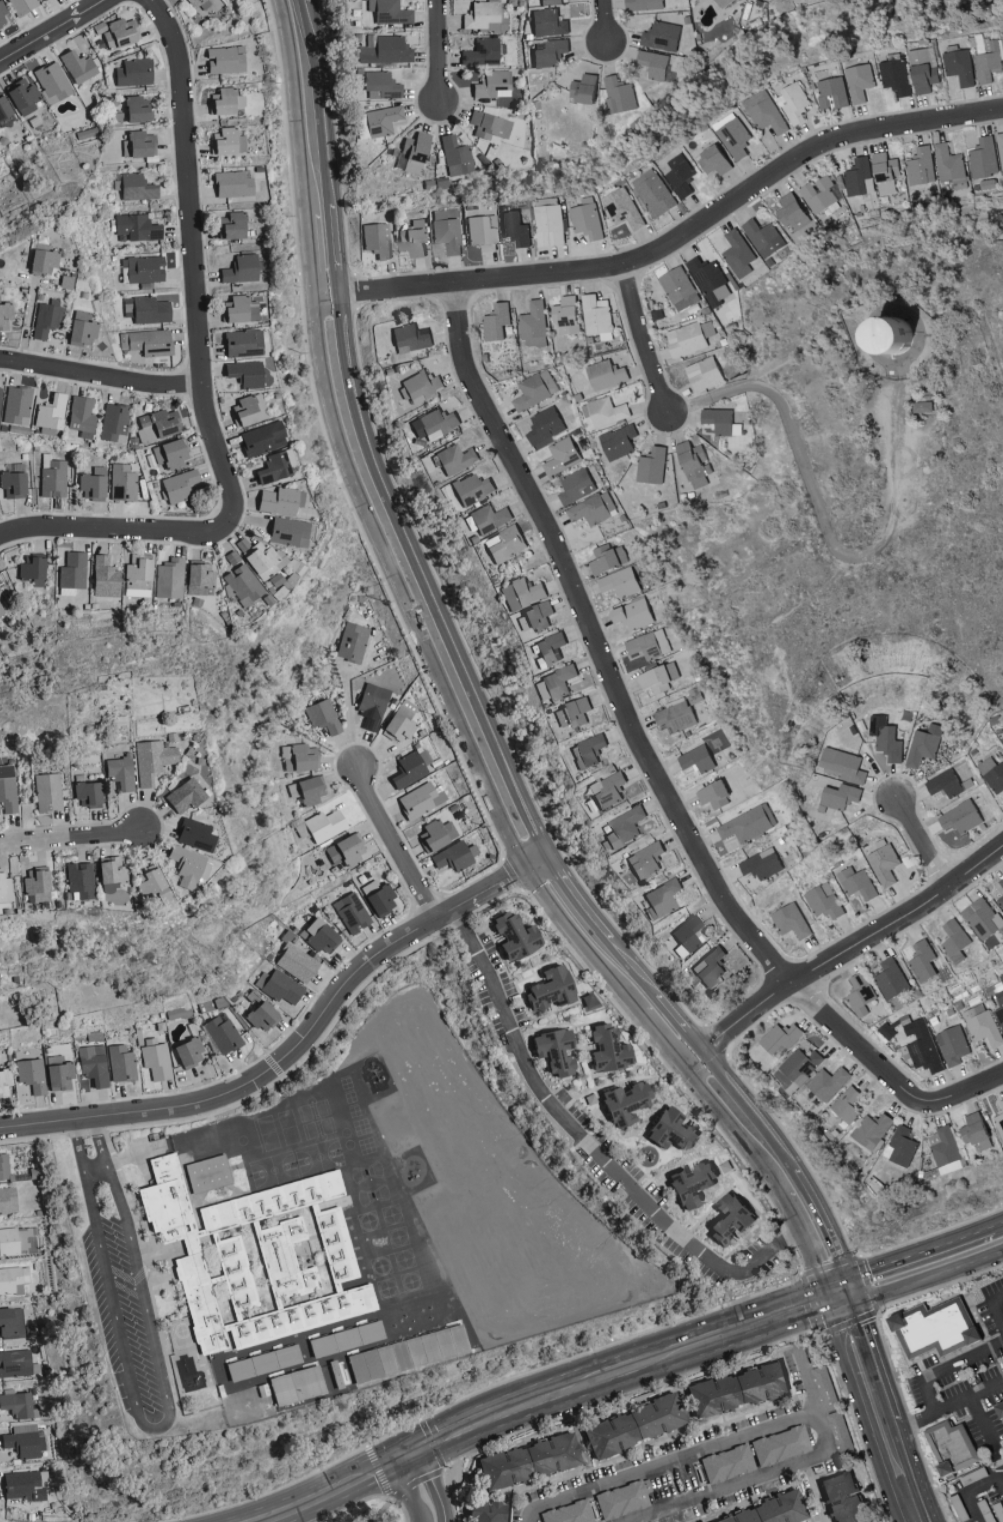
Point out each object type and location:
building: (44, 0)
building: (812, 1)
building: (551, 2)
building: (727, 3)
building: (652, 5)
building: (22, 6)
building: (390, 12)
building: (4, 14)
building: (483, 15)
building: (550, 23)
road: (607, 24)
road: (49, 30)
building: (120, 32)
building: (664, 36)
building: (386, 50)
building: (483, 53)
building: (552, 53)
road: (438, 54)
building: (921, 57)
building: (226, 60)
building: (987, 63)
building: (80, 66)
building: (959, 66)
building: (659, 71)
building: (136, 72)
building: (898, 77)
building: (927, 78)
building: (53, 82)
building: (861, 83)
building: (494, 84)
building: (383, 86)
building: (587, 89)
building: (833, 94)
building: (25, 95)
building: (620, 96)
building: (227, 102)
building: (795, 105)
road: (296, 107)
building: (140, 109)
building: (6, 111)
building: (766, 113)
building: (384, 120)
building: (491, 125)
building: (737, 139)
building: (227, 141)
building: (140, 145)
building: (1000, 148)
road: (323, 149)
building: (417, 152)
building: (457, 156)
building: (983, 157)
building: (718, 162)
building: (920, 166)
building: (950, 166)
building: (883, 173)
building: (682, 177)
building: (858, 177)
building: (234, 184)
building: (137, 187)
building: (817, 193)
building: (656, 194)
building: (624, 209)
building: (788, 210)
building: (587, 221)
building: (234, 226)
building: (551, 226)
building: (138, 228)
building: (516, 229)
building: (446, 232)
building: (482, 234)
building: (762, 237)
building: (414, 238)
building: (377, 240)
road: (681, 245)
building: (737, 253)
road: (311, 258)
building: (45, 259)
building: (146, 269)
building: (242, 269)
building: (708, 278)
building: (678, 288)
road: (325, 299)
building: (237, 309)
building: (148, 310)
building: (564, 314)
building: (595, 314)
building: (6, 316)
building: (47, 319)
building: (496, 321)
building: (533, 324)
building: (84, 328)
building: (872, 333)
building: (411, 338)
building: (688, 338)
building: (147, 342)
building: (244, 343)
road: (644, 343)
building: (702, 373)
building: (247, 374)
building: (604, 374)
road: (104, 376)
road: (206, 377)
building: (420, 385)
building: (536, 389)
building: (0, 396)
building: (18, 405)
building: (920, 406)
building: (248, 411)
building: (604, 412)
building: (52, 413)
building: (83, 417)
building: (436, 420)
building: (720, 421)
building: (114, 423)
building: (158, 426)
building: (545, 427)
building: (264, 438)
building: (617, 442)
building: (172, 453)
building: (561, 456)
building: (454, 458)
building: (692, 464)
building: (274, 465)
building: (651, 465)
building: (15, 482)
building: (123, 483)
building: (95, 484)
building: (180, 486)
building: (575, 486)
building: (471, 489)
building: (277, 500)
building: (593, 509)
building: (488, 518)
road: (822, 518)
building: (285, 531)
building: (605, 557)
building: (265, 560)
building: (135, 567)
building: (29, 569)
building: (72, 570)
building: (102, 576)
building: (197, 577)
building: (168, 578)
building: (273, 579)
building: (243, 582)
building: (618, 582)
road: (423, 584)
building: (519, 593)
building: (0, 612)
building: (630, 614)
building: (536, 615)
building: (351, 642)
building: (647, 644)
building: (549, 648)
road: (438, 674)
building: (658, 677)
building: (557, 682)
building: (370, 704)
building: (571, 712)
building: (321, 715)
building: (673, 716)
road: (348, 717)
building: (395, 726)
road: (635, 738)
building: (886, 740)
building: (922, 745)
building: (588, 750)
building: (294, 757)
building: (151, 759)
building: (695, 759)
building: (840, 764)
building: (408, 767)
building: (6, 771)
building: (119, 772)
building: (992, 774)
building: (942, 783)
building: (307, 789)
building: (606, 790)
building: (47, 791)
building: (84, 793)
building: (182, 795)
building: (712, 795)
building: (840, 796)
building: (419, 799)
building: (959, 817)
building: (322, 825)
building: (623, 827)
building: (743, 827)
building: (193, 833)
building: (434, 834)
road: (71, 838)
road: (397, 844)
road: (923, 845)
building: (344, 849)
building: (453, 855)
building: (644, 861)
building: (760, 864)
building: (883, 864)
building: (187, 865)
building: (108, 869)
building: (78, 879)
building: (145, 880)
building: (1001, 881)
building: (855, 883)
building: (33, 884)
building: (5, 889)
road: (571, 894)
building: (378, 898)
building: (659, 898)
building: (822, 900)
building: (1000, 901)
building: (350, 911)
building: (981, 918)
building: (789, 920)
building: (685, 932)
building: (512, 935)
building: (318, 936)
building: (953, 940)
road: (841, 952)
building: (921, 960)
building: (294, 961)
building: (709, 966)
building: (890, 978)
building: (279, 986)
building: (546, 988)
building: (860, 993)
building: (999, 1006)
building: (259, 1016)
building: (981, 1025)
building: (221, 1032)
building: (781, 1037)
road: (662, 1038)
building: (952, 1045)
building: (922, 1046)
road: (299, 1047)
building: (603, 1048)
building: (187, 1050)
building: (549, 1050)
building: (156, 1059)
building: (120, 1063)
building: (91, 1064)
building: (801, 1065)
building: (57, 1073)
building: (30, 1074)
building: (3, 1081)
building: (827, 1083)
road: (972, 1090)
road: (743, 1101)
building: (620, 1103)
building: (846, 1105)
building: (999, 1118)
building: (668, 1129)
road: (734, 1129)
building: (870, 1130)
building: (972, 1132)
road: (589, 1145)
building: (901, 1146)
building: (943, 1150)
building: (3, 1167)
road: (96, 1170)
building: (686, 1184)
building: (6, 1200)
building: (725, 1219)
building: (214, 1224)
road: (997, 1227)
building: (13, 1240)
road: (809, 1249)
road: (919, 1256)
road: (929, 1278)
building: (12, 1279)
building: (292, 1280)
traffic signals: (855, 1295)
road: (842, 1299)
traffic signals: (830, 1304)
road: (992, 1311)
parking lot: (126, 1316)
road: (787, 1317)
building: (10, 1322)
building: (935, 1330)
building: (342, 1335)
road: (875, 1358)
building: (260, 1359)
building: (15, 1363)
road: (646, 1363)
road: (945, 1369)
building: (334, 1374)
building: (295, 1385)
building: (825, 1388)
building: (738, 1389)
building: (16, 1404)
road: (951, 1406)
building: (999, 1409)
road: (866, 1413)
road: (476, 1425)
building: (634, 1425)
road: (158, 1427)
road: (986, 1431)
building: (23, 1441)
building: (780, 1445)
building: (951, 1449)
traffic signals: (406, 1456)
building: (530, 1461)
road: (666, 1461)
building: (726, 1464)
road: (792, 1465)
road: (912, 1472)
road: (1001, 1482)
building: (22, 1485)
road: (425, 1486)
road: (314, 1492)
road: (810, 1492)
road: (970, 1492)
building: (843, 1498)
building: (622, 1499)
road: (397, 1500)
building: (767, 1509)
building: (487, 1511)
park: (373, 1512)
building: (569, 1513)

